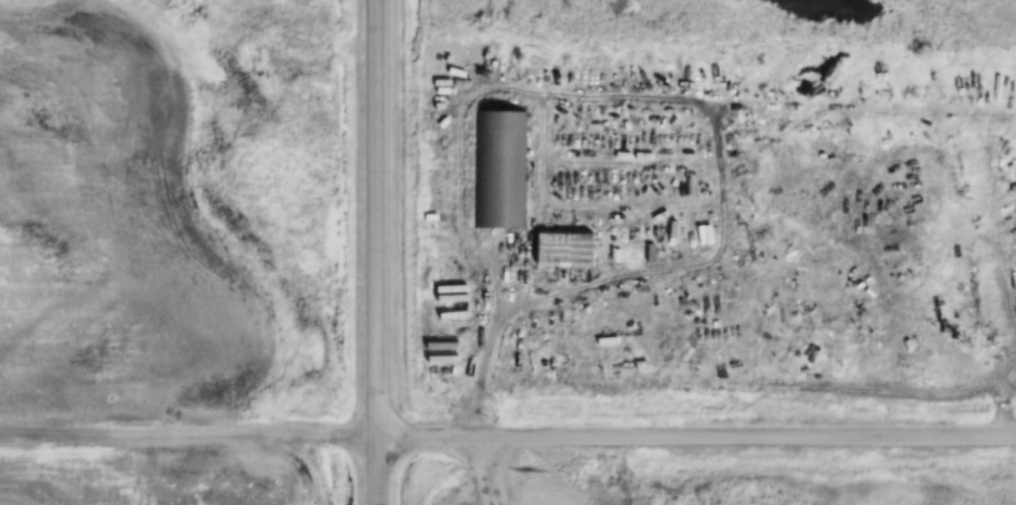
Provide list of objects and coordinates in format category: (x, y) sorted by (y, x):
road: (686, 91)
building: (499, 169)
building: (699, 235)
building: (561, 250)
road: (375, 252)
road: (483, 361)
building: (620, 367)
road: (738, 382)
road: (1000, 389)
road: (695, 429)
road: (187, 433)
road: (485, 467)

